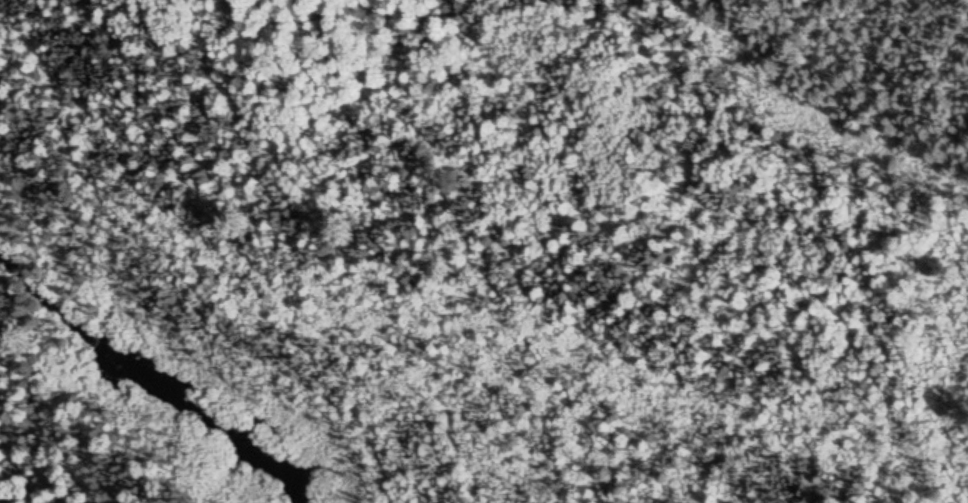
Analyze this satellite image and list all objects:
river: (150, 400)

